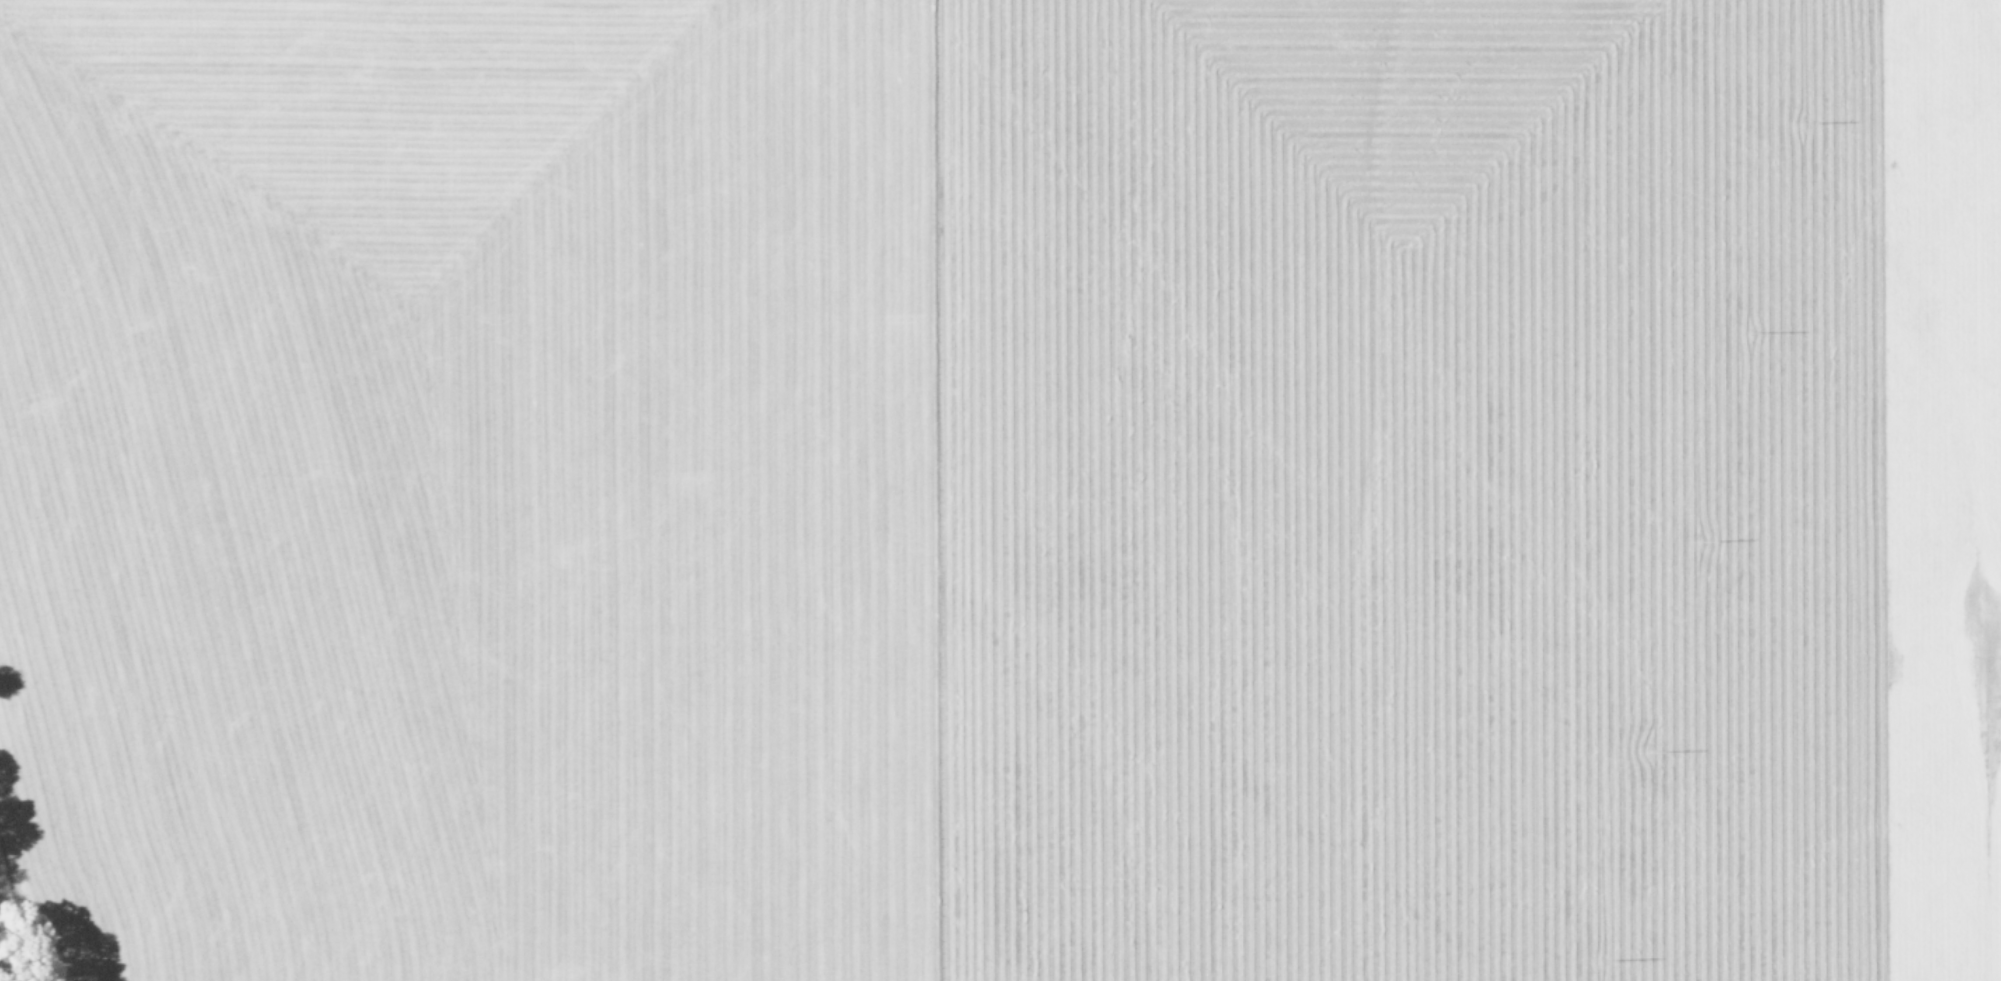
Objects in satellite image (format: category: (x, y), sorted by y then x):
crop: (1001, 489)

